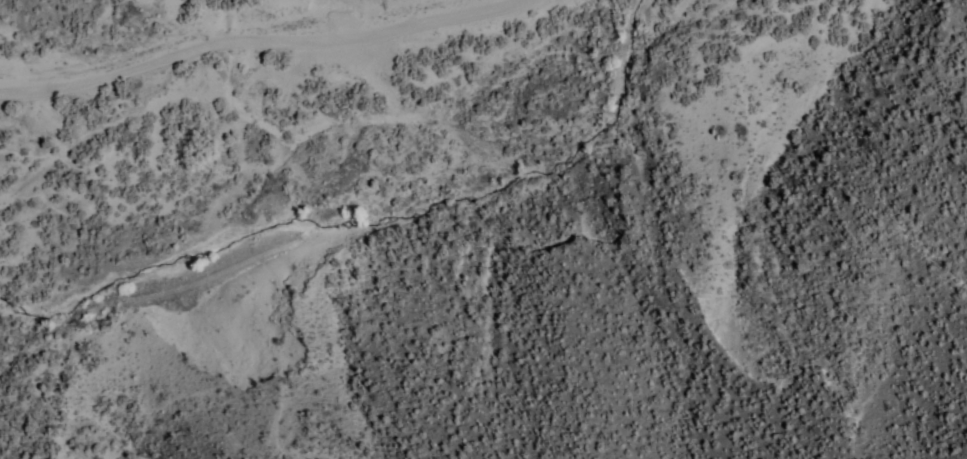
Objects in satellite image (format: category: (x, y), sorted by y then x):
road: (261, 42)

